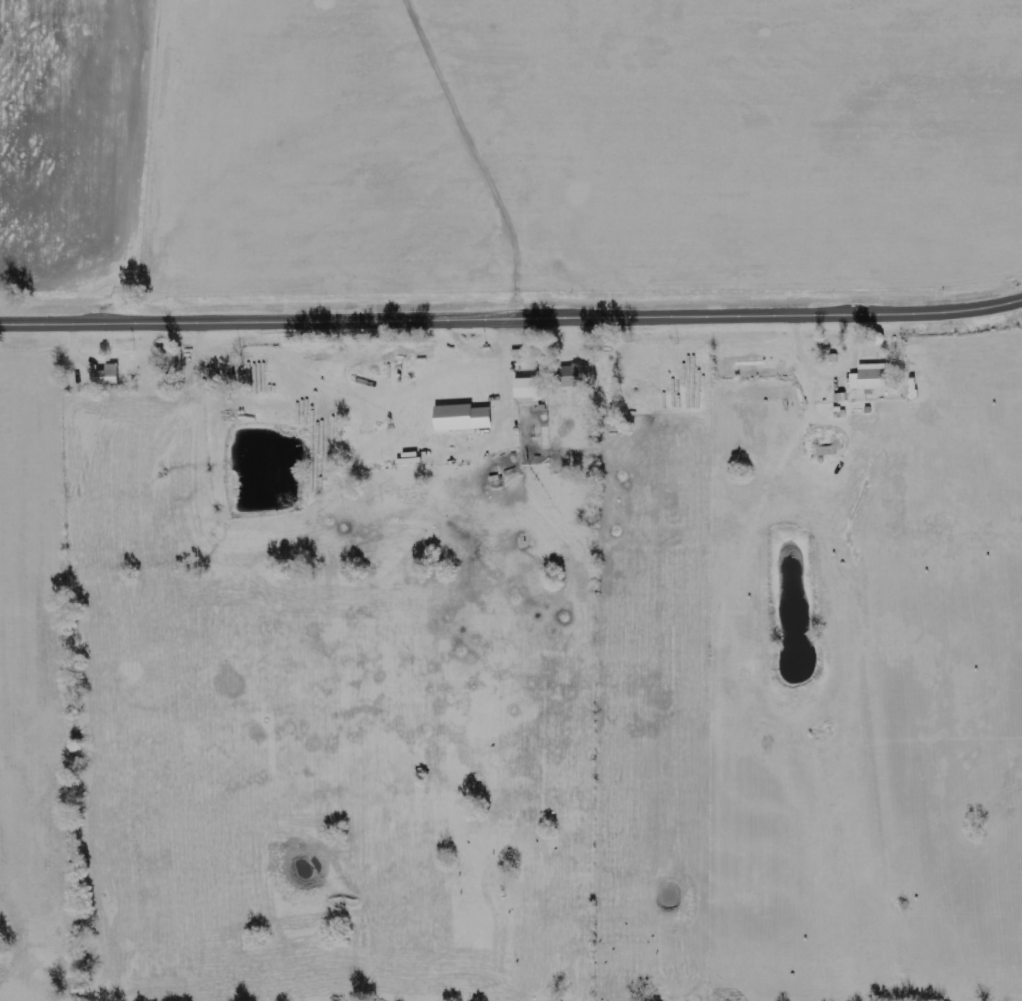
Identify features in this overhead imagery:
road: (511, 319)
building: (575, 375)
building: (108, 376)
building: (869, 377)
building: (526, 387)
building: (461, 418)

